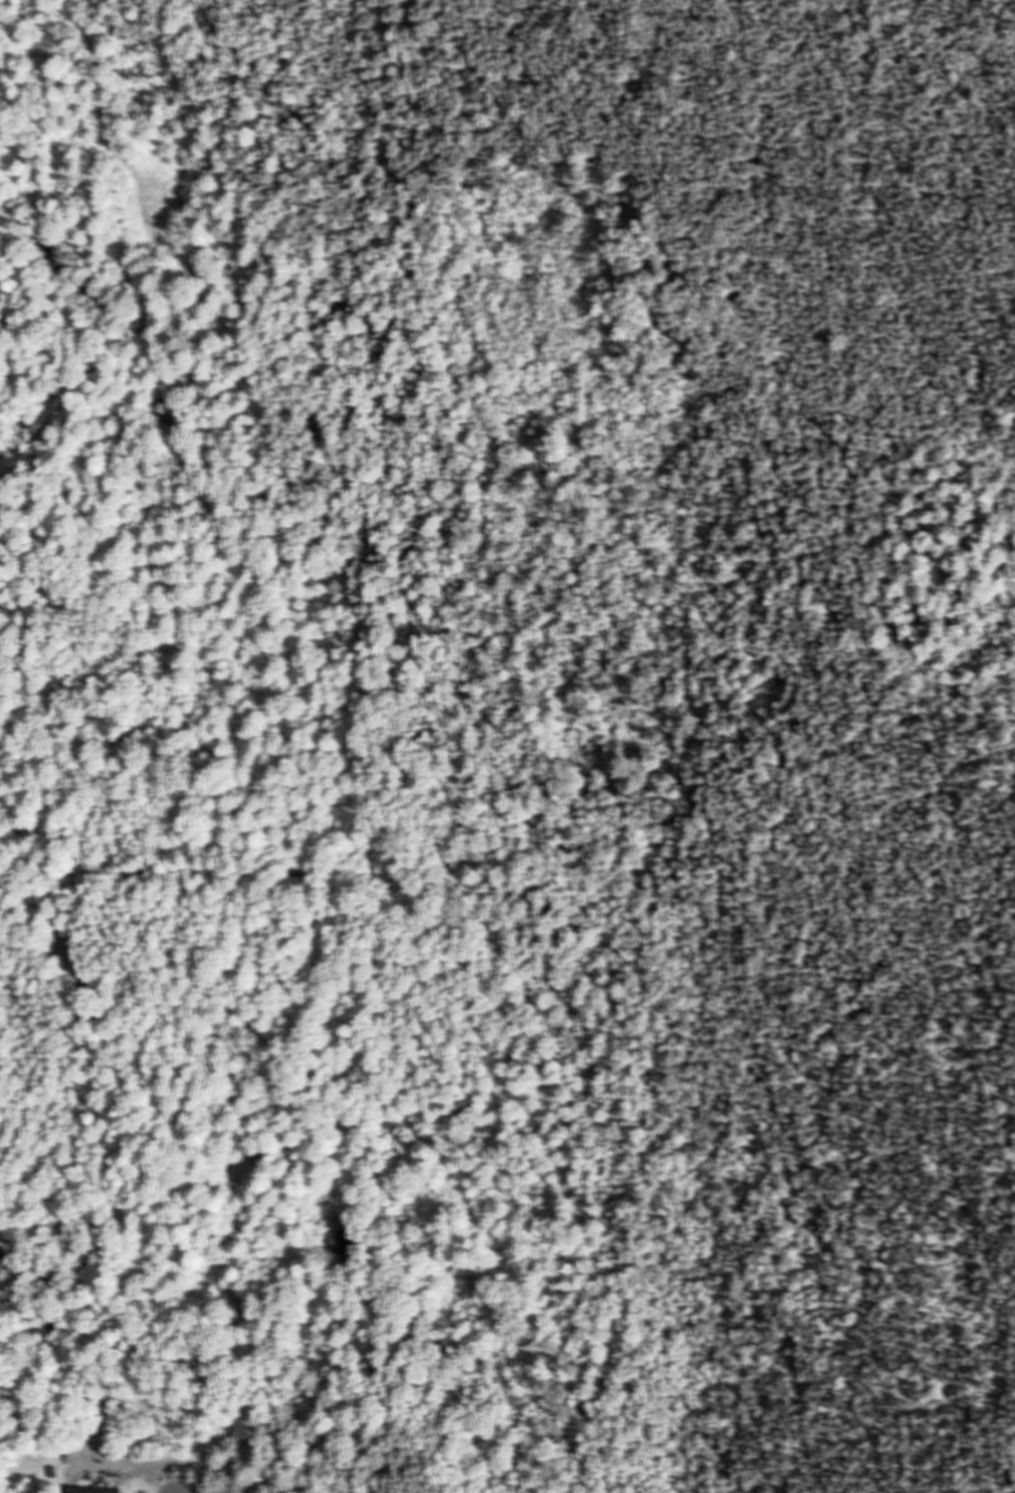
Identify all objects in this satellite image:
building: (100, 1490)

